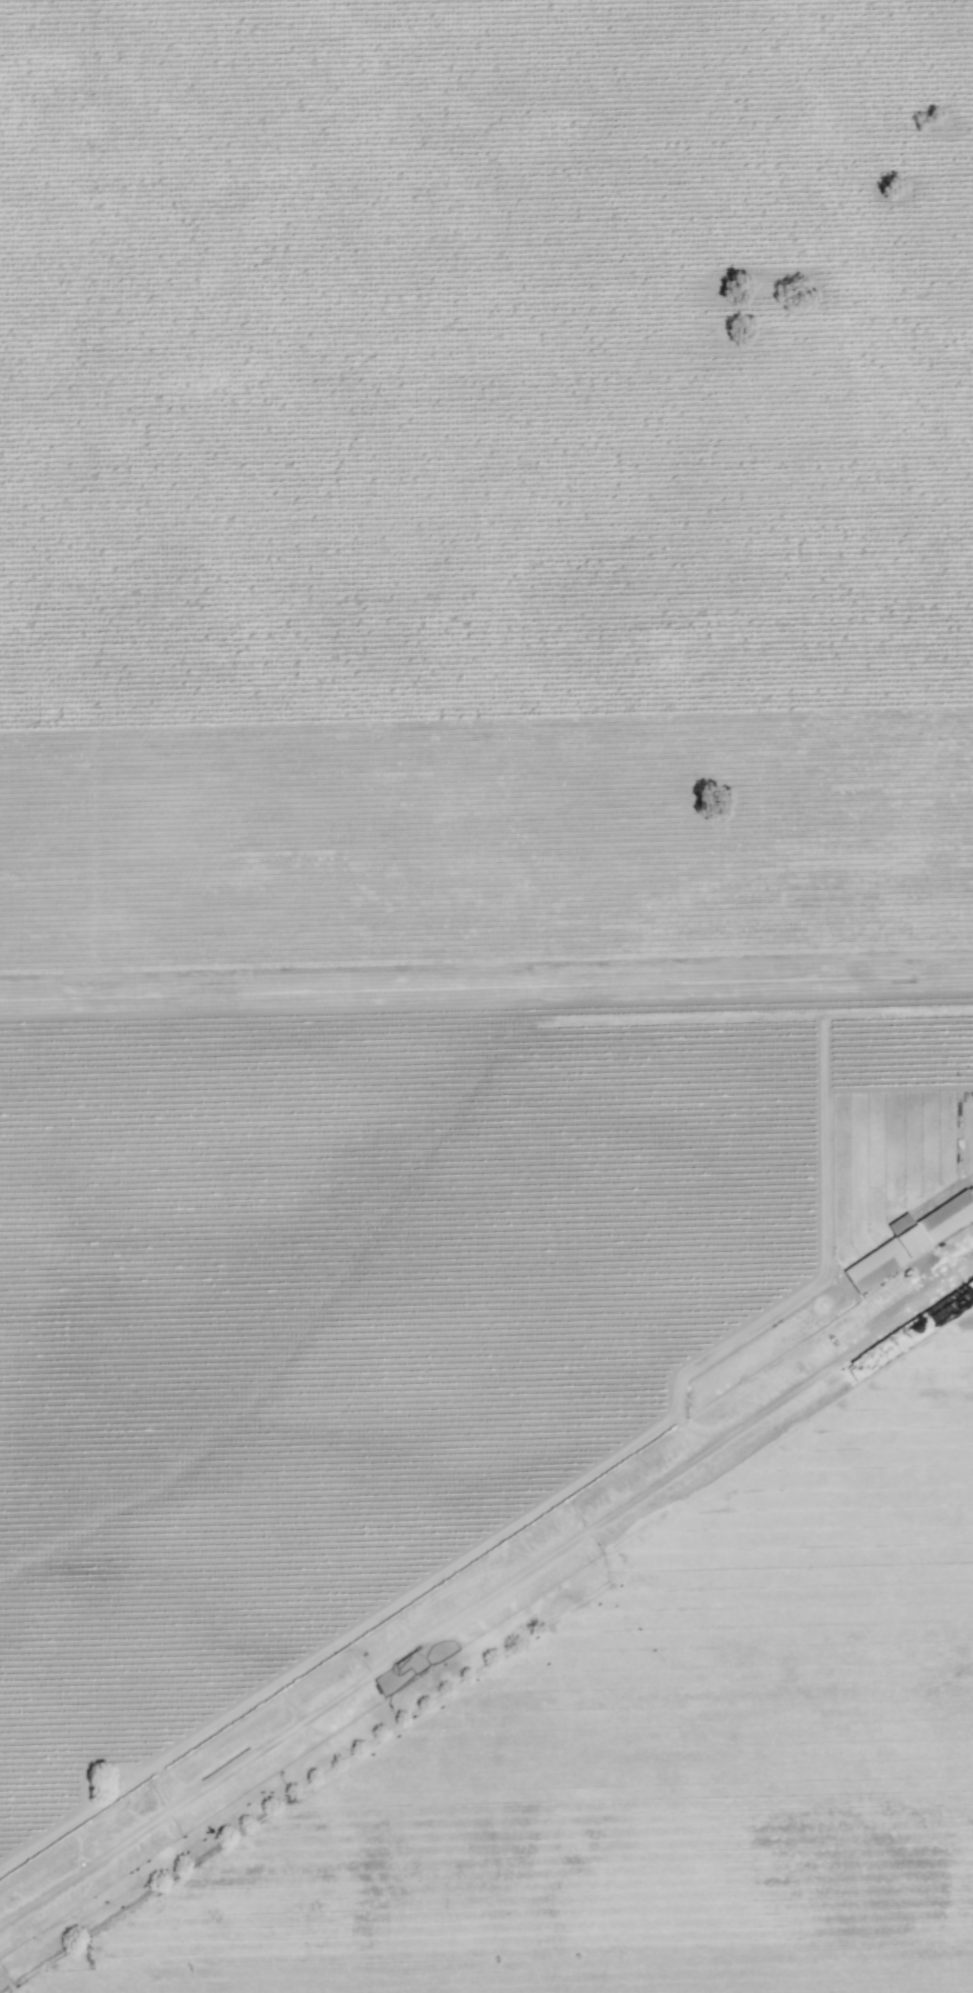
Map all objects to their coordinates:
building: (911, 1239)
building: (873, 1356)
road: (488, 1599)

